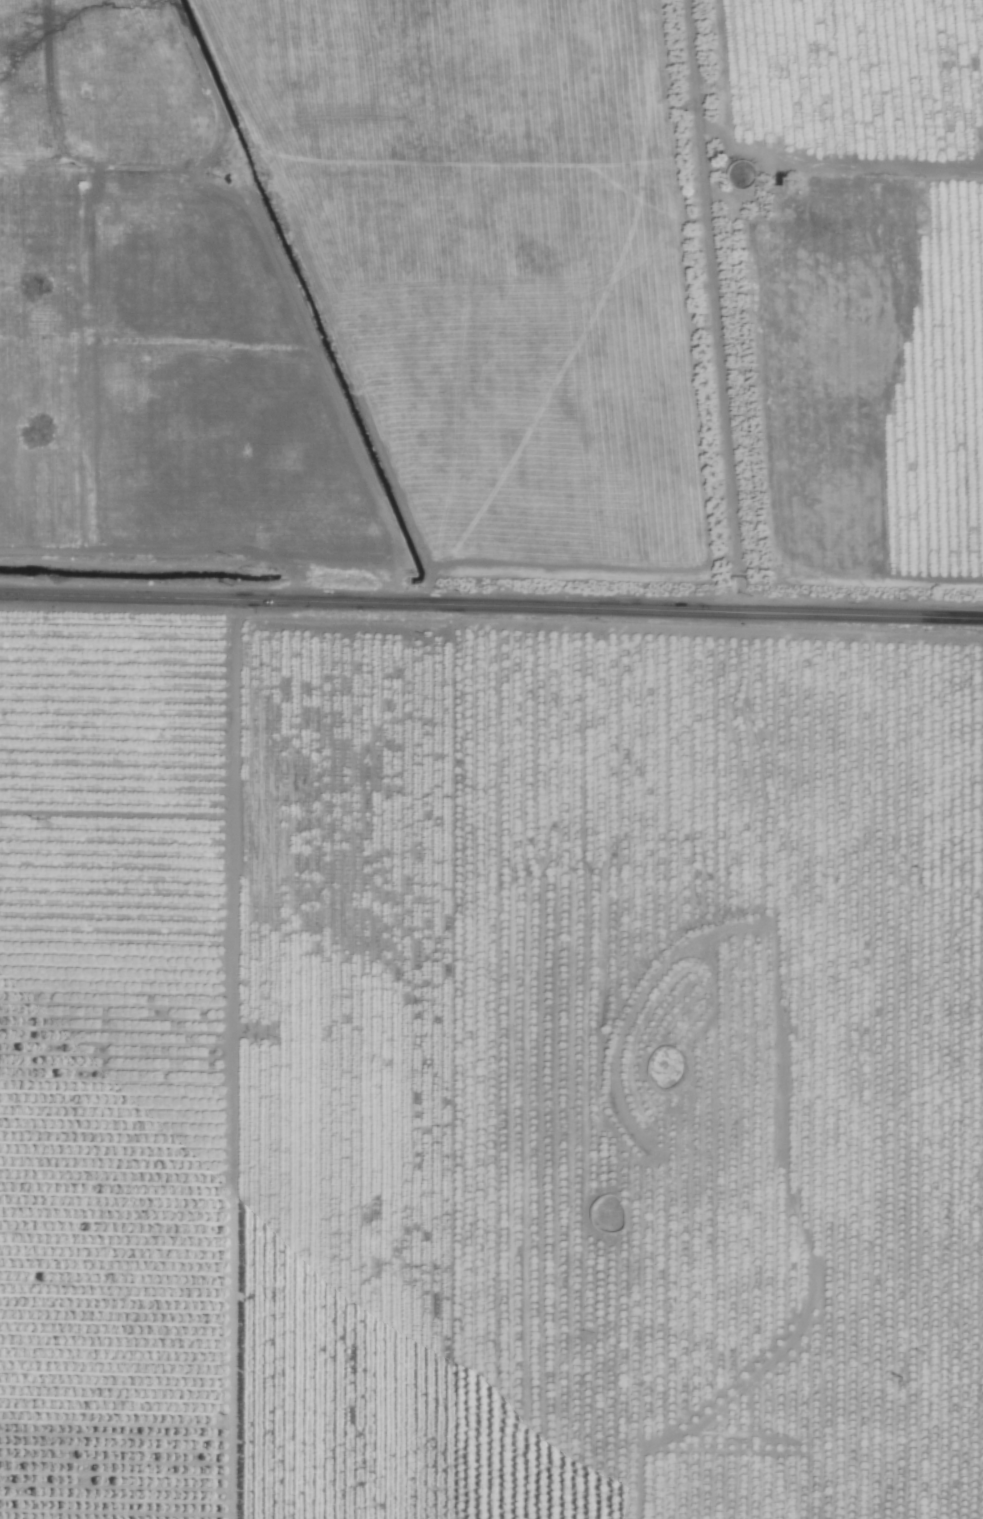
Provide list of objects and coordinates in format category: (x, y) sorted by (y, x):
road: (715, 305)
road: (491, 605)
crop: (491, 759)

